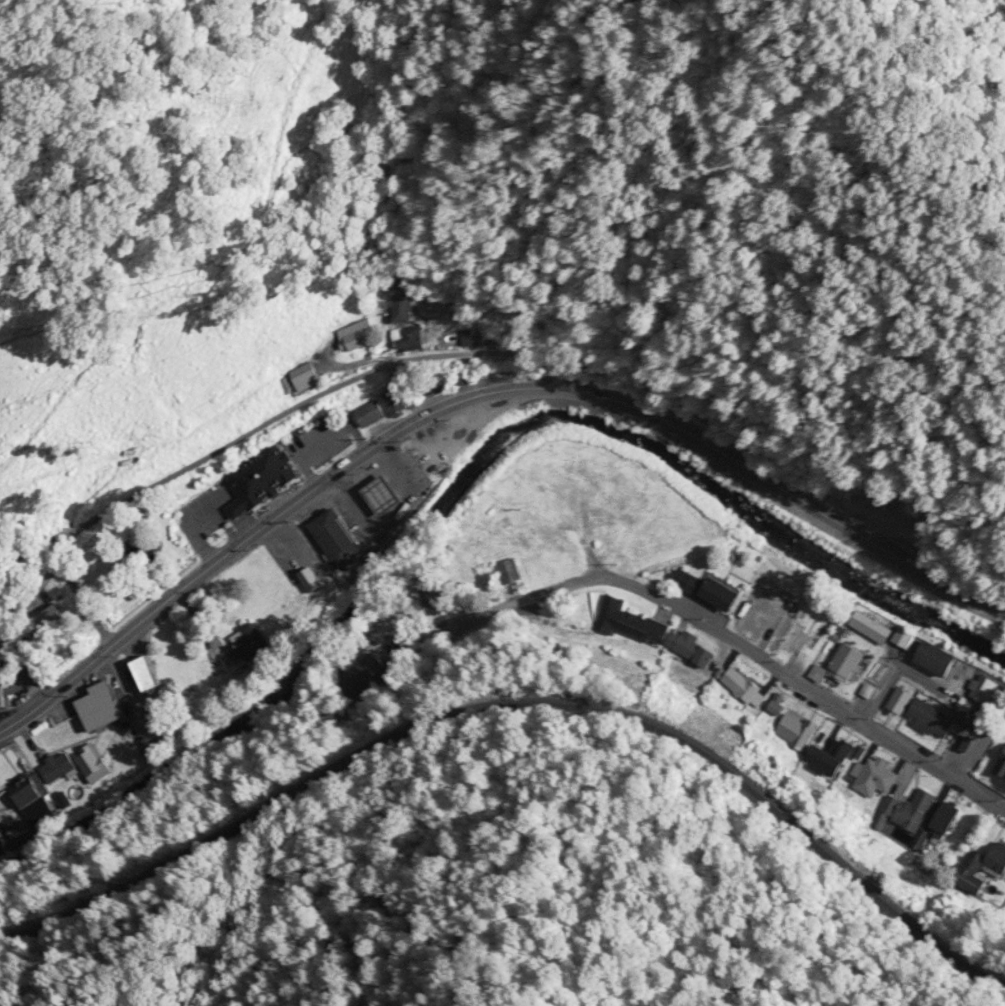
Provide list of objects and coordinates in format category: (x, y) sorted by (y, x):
building: (402, 307)
building: (356, 334)
building: (408, 337)
road: (408, 360)
building: (302, 376)
building: (430, 386)
road: (551, 386)
building: (401, 401)
building: (371, 414)
road: (450, 416)
road: (697, 453)
building: (257, 478)
road: (348, 478)
building: (379, 493)
building: (334, 535)
road: (34, 536)
building: (510, 570)
building: (705, 588)
road: (950, 597)
building: (434, 599)
road: (979, 599)
road: (997, 606)
building: (383, 619)
road: (155, 620)
building: (627, 621)
building: (57, 623)
building: (869, 626)
road: (722, 637)
building: (237, 649)
building: (688, 649)
building: (845, 661)
building: (3, 662)
road: (76, 672)
building: (138, 675)
road: (120, 687)
building: (2, 694)
building: (898, 700)
building: (91, 707)
railway: (522, 707)
building: (929, 718)
building: (795, 730)
building: (828, 756)
building: (73, 763)
building: (92, 763)
building: (1000, 764)
building: (43, 771)
building: (873, 777)
building: (24, 792)
building: (11, 794)
building: (905, 810)
building: (943, 818)
building: (987, 870)

